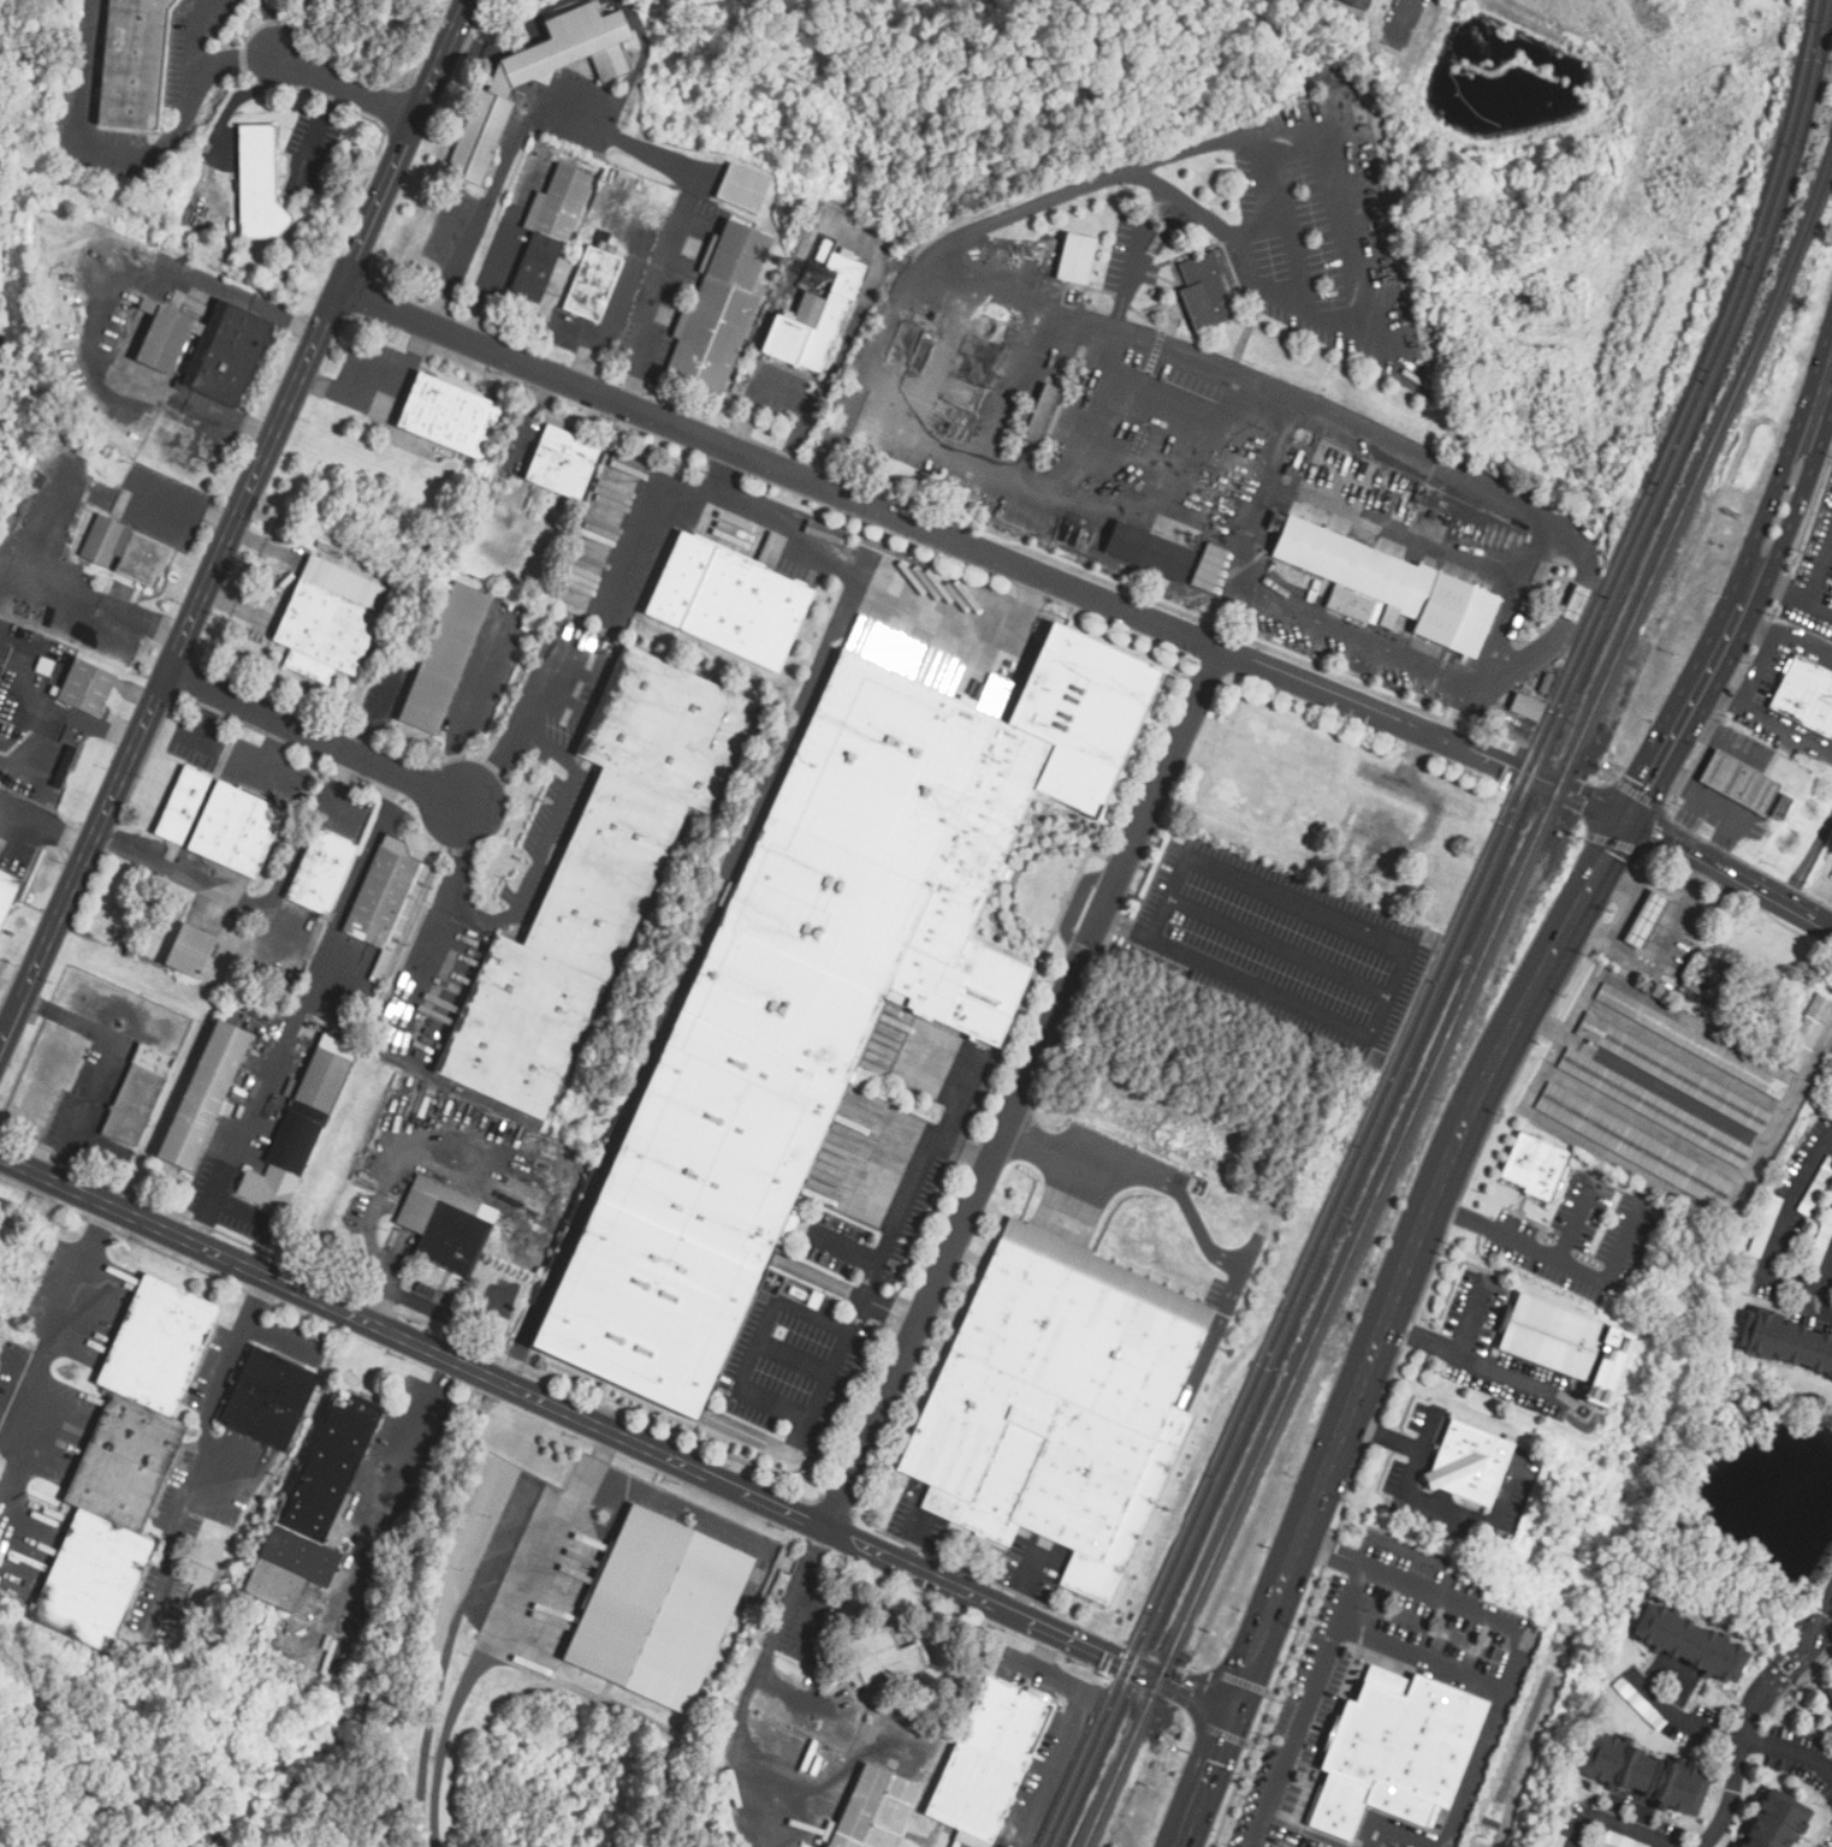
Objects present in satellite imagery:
building: (1357, 2)
road: (1403, 11)
road: (269, 29)
building: (134, 64)
road: (235, 64)
building: (539, 79)
road: (344, 88)
road: (236, 99)
road: (579, 123)
road: (320, 124)
road: (130, 152)
building: (260, 186)
building: (741, 190)
road: (1685, 206)
building: (550, 230)
road: (1228, 232)
road: (461, 255)
road: (493, 260)
building: (1077, 260)
road: (129, 268)
building: (594, 281)
road: (640, 293)
building: (1206, 293)
building: (721, 309)
building: (818, 317)
road: (468, 342)
building: (208, 350)
road: (635, 354)
road: (1012, 384)
building: (1040, 415)
building: (450, 417)
road: (231, 421)
road: (1348, 423)
road: (1821, 429)
road: (1279, 439)
building: (564, 463)
building: (901, 473)
road: (1065, 495)
road: (183, 501)
road: (233, 524)
road: (644, 524)
road: (1252, 524)
road: (35, 535)
building: (1123, 542)
building: (128, 552)
building: (1167, 556)
road: (870, 565)
building: (1209, 566)
road: (1821, 570)
building: (1353, 572)
road: (1785, 583)
road: (1747, 594)
building: (730, 604)
road: (1115, 604)
road: (1821, 604)
building: (1577, 605)
road: (143, 616)
building: (325, 634)
road: (1785, 636)
road: (1761, 640)
building: (445, 659)
road: (1760, 669)
road: (31, 670)
building: (87, 689)
building: (1807, 699)
road: (470, 705)
building: (1528, 707)
building: (1083, 712)
road: (378, 715)
road: (1767, 718)
road: (207, 720)
road: (96, 725)
road: (318, 740)
road: (37, 747)
road: (271, 756)
road: (254, 758)
road: (1676, 779)
building: (1738, 782)
gas station: (1739, 784)
road: (1691, 790)
building: (183, 807)
building: (1783, 809)
traffic signals: (1632, 818)
road: (1689, 820)
building: (237, 831)
road: (1655, 835)
road: (546, 842)
road: (1806, 856)
building: (322, 872)
road: (1731, 873)
building: (599, 879)
road: (1618, 879)
road: (1632, 890)
building: (7, 896)
road: (1168, 896)
building: (386, 901)
road: (260, 907)
gas station: (1644, 915)
building: (1646, 919)
road: (1341, 921)
railway: (1452, 931)
railway: (1464, 931)
road: (1658, 945)
road: (1277, 946)
building: (191, 952)
road: (428, 952)
road: (684, 974)
road: (1235, 975)
building: (1707, 975)
railway: (1468, 999)
building: (796, 1020)
road: (94, 1033)
building: (1808, 1035)
building: (1690, 1040)
road: (1816, 1056)
building: (1672, 1073)
road: (271, 1075)
road: (1025, 1088)
building: (138, 1097)
building: (204, 1097)
building: (1654, 1107)
road: (1774, 1134)
building: (297, 1135)
road: (71, 1140)
building: (1632, 1145)
building: (1536, 1168)
building: (1816, 1189)
road: (913, 1192)
road: (211, 1201)
road: (1191, 1213)
road: (1576, 1223)
building: (445, 1227)
building: (1766, 1228)
road: (1495, 1233)
road: (1777, 1237)
building: (1821, 1245)
road: (1412, 1255)
road: (1612, 1270)
building: (1107, 1275)
road: (386, 1284)
road: (384, 1288)
building: (792, 1293)
road: (1471, 1319)
road: (58, 1324)
building: (1554, 1337)
road: (1406, 1340)
building: (1785, 1342)
road: (1474, 1360)
road: (208, 1394)
building: (271, 1400)
road: (783, 1409)
building: (1056, 1417)
road: (1430, 1430)
road: (616, 1435)
road: (408, 1456)
building: (125, 1465)
building: (1469, 1469)
road: (1421, 1503)
building: (315, 1505)
road: (351, 1582)
building: (659, 1613)
road: (1518, 1629)
road: (494, 1631)
road: (1810, 1634)
road: (776, 1635)
building: (1691, 1645)
road: (1421, 1656)
building: (885, 1661)
road: (1241, 1682)
building: (1830, 1687)
building: (1830, 1694)
road: (1202, 1697)
building: (1641, 1705)
road: (1304, 1706)
traffic signals: (1233, 1712)
road: (1074, 1715)
road: (1730, 1733)
road: (1222, 1735)
building: (1395, 1753)
road: (1738, 1756)
building: (990, 1762)
building: (1644, 1775)
road: (1206, 1778)
building: (875, 1812)
building: (1778, 1823)
road: (1614, 1824)
road: (1394, 1830)
road: (1305, 1841)
building: (1558, 1841)
building: (1620, 1841)
road: (1436, 1845)

